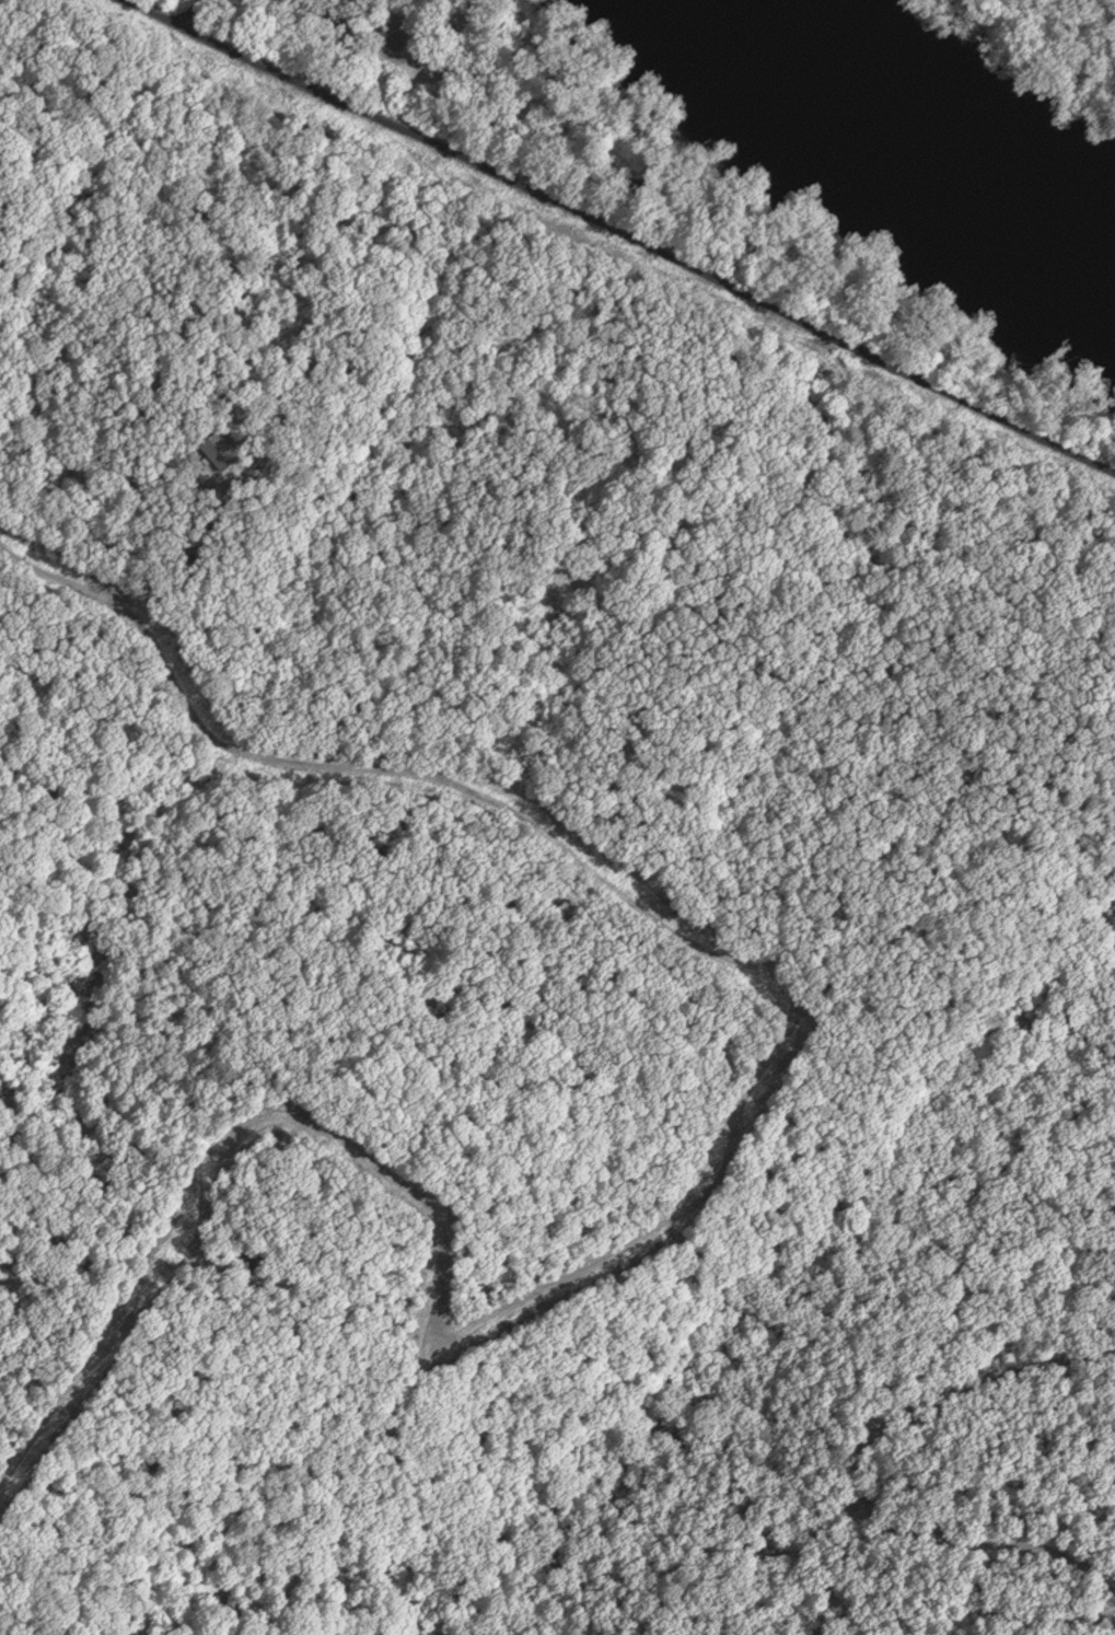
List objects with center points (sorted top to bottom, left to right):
building: (393, 36)
river: (924, 141)
road: (625, 230)
road: (617, 897)
road: (435, 1218)
road: (856, 1475)

